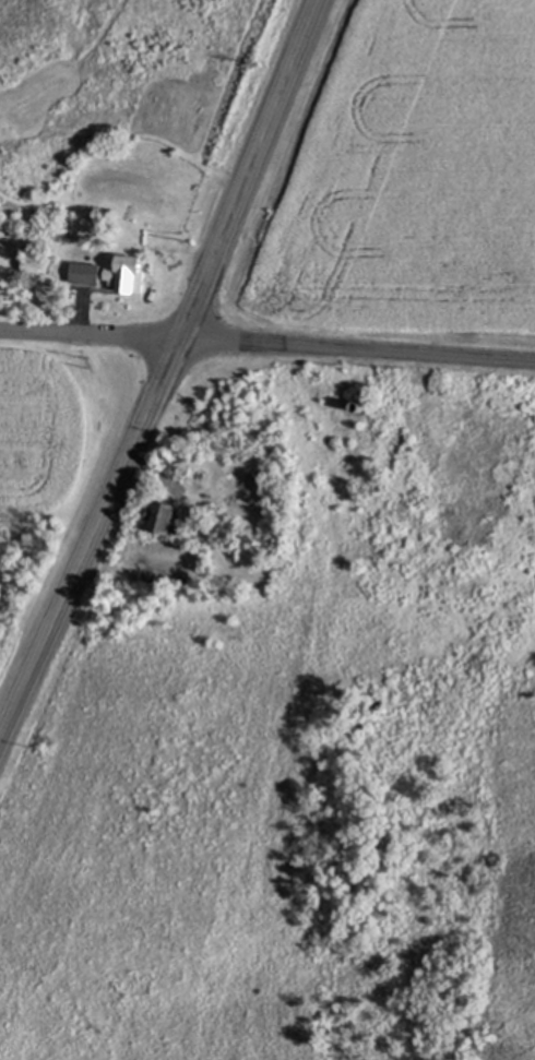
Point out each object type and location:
building: (85, 273)
road: (267, 347)
road: (164, 377)

